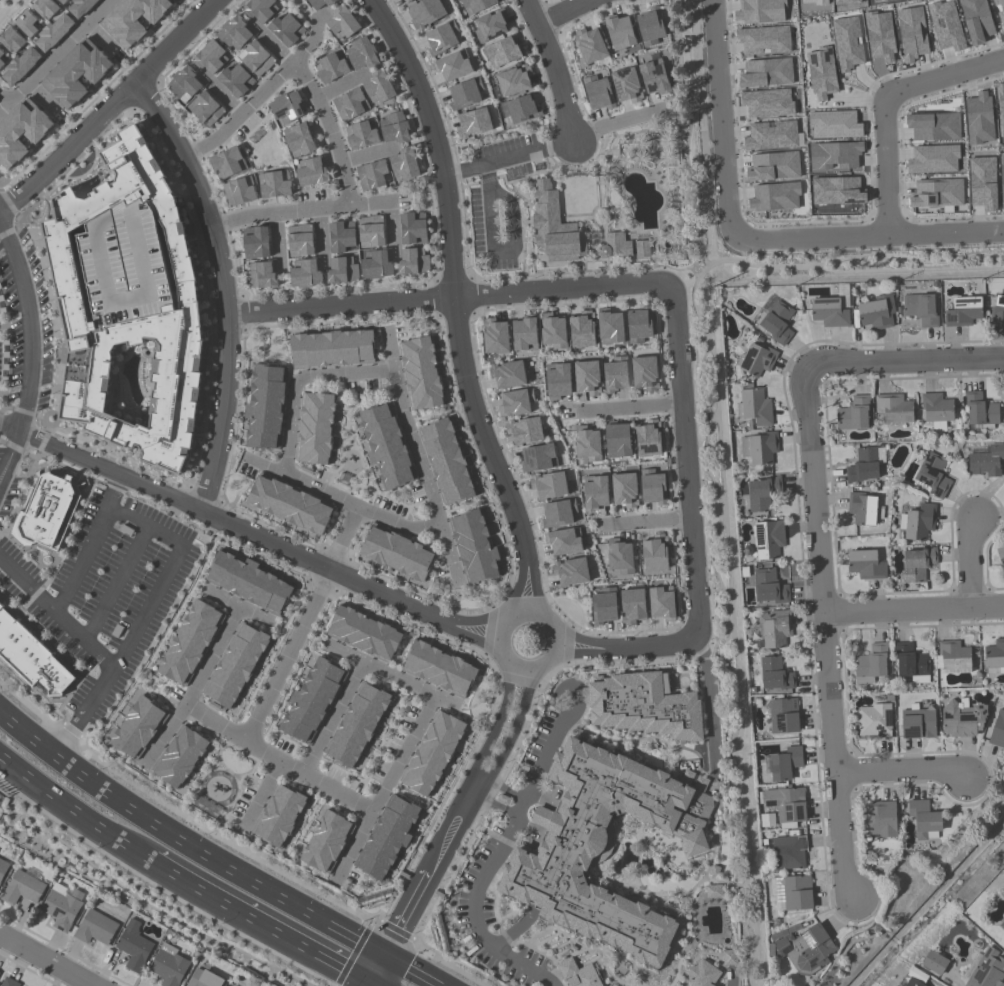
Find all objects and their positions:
building: (282, 0)
building: (62, 1)
building: (407, 1)
building: (815, 1)
building: (845, 1)
building: (881, 1)
building: (319, 3)
building: (476, 5)
building: (80, 7)
building: (45, 8)
building: (259, 9)
building: (999, 10)
road: (558, 11)
building: (759, 11)
building: (425, 13)
road: (308, 16)
building: (132, 19)
building: (976, 20)
building: (26, 23)
building: (342, 23)
building: (490, 25)
building: (946, 25)
building: (650, 26)
building: (286, 29)
building: (53, 32)
building: (619, 32)
building: (234, 33)
building: (912, 33)
building: (879, 36)
road: (98, 37)
building: (441, 38)
building: (11, 40)
building: (763, 40)
building: (847, 43)
building: (589, 46)
building: (502, 52)
building: (1, 53)
building: (361, 53)
road: (54, 55)
building: (210, 57)
building: (256, 58)
building: (2, 61)
building: (20, 66)
building: (453, 66)
building: (330, 68)
road: (556, 71)
building: (75, 73)
building: (766, 73)
building: (821, 73)
building: (653, 77)
building: (236, 80)
building: (514, 80)
building: (184, 84)
building: (626, 85)
road: (338, 86)
building: (378, 87)
building: (597, 93)
road: (221, 94)
building: (465, 94)
road: (4, 98)
road: (39, 98)
road: (253, 101)
building: (767, 102)
road: (885, 103)
road: (318, 104)
building: (350, 104)
building: (286, 108)
building: (1001, 108)
building: (205, 109)
building: (521, 109)
road: (109, 110)
road: (721, 117)
building: (979, 118)
road: (620, 121)
building: (473, 123)
building: (834, 124)
building: (933, 126)
building: (394, 127)
building: (21, 132)
building: (360, 135)
building: (771, 136)
building: (298, 140)
road: (368, 153)
building: (834, 155)
road: (507, 158)
building: (933, 159)
building: (227, 163)
building: (404, 164)
building: (773, 166)
building: (311, 172)
building: (371, 174)
building: (1001, 179)
building: (982, 183)
building: (274, 184)
building: (238, 191)
building: (837, 191)
building: (937, 193)
building: (774, 197)
road: (298, 208)
building: (554, 227)
building: (412, 228)
road: (390, 229)
building: (370, 232)
road: (866, 235)
road: (319, 236)
building: (341, 236)
road: (276, 239)
building: (300, 241)
building: (255, 242)
building: (615, 245)
building: (642, 248)
road: (498, 250)
building: (413, 261)
building: (375, 265)
road: (699, 266)
building: (342, 270)
building: (304, 274)
building: (260, 275)
road: (221, 289)
road: (444, 299)
building: (128, 301)
road: (453, 304)
building: (920, 309)
building: (998, 310)
building: (962, 311)
building: (828, 312)
building: (877, 312)
building: (777, 322)
building: (639, 325)
building: (610, 327)
building: (581, 330)
building: (553, 331)
building: (524, 334)
building: (495, 337)
road: (29, 348)
building: (331, 349)
road: (389, 352)
building: (756, 360)
road: (910, 361)
building: (644, 373)
building: (420, 374)
building: (508, 374)
building: (615, 375)
building: (586, 377)
building: (557, 381)
building: (515, 403)
building: (265, 407)
road: (631, 407)
building: (754, 407)
building: (894, 408)
building: (937, 410)
building: (981, 411)
building: (853, 414)
road: (290, 417)
road: (9, 426)
building: (315, 429)
building: (524, 431)
building: (648, 439)
building: (617, 440)
building: (587, 444)
building: (386, 446)
building: (759, 447)
building: (538, 458)
building: (986, 461)
building: (446, 462)
road: (684, 462)
road: (265, 466)
building: (863, 466)
building: (933, 475)
building: (549, 485)
building: (652, 487)
road: (429, 489)
building: (624, 490)
building: (594, 493)
building: (762, 493)
building: (289, 504)
building: (864, 509)
building: (47, 511)
building: (558, 513)
road: (645, 521)
building: (917, 522)
building: (124, 530)
road: (257, 537)
road: (341, 538)
building: (768, 539)
building: (563, 541)
road: (88, 544)
building: (474, 547)
road: (449, 551)
building: (397, 553)
building: (655, 554)
building: (1000, 556)
building: (619, 557)
building: (865, 564)
building: (918, 564)
road: (973, 565)
road: (167, 569)
building: (571, 572)
road: (115, 582)
building: (248, 582)
building: (769, 587)
building: (662, 603)
building: (633, 604)
road: (238, 606)
building: (604, 606)
road: (914, 612)
building: (774, 629)
road: (825, 629)
building: (118, 631)
building: (363, 634)
road: (500, 634)
building: (189, 644)
road: (625, 649)
road: (96, 650)
building: (30, 656)
road: (286, 656)
building: (995, 656)
building: (953, 658)
building: (911, 663)
building: (871, 664)
building: (235, 666)
building: (439, 669)
building: (775, 674)
road: (390, 675)
road: (193, 687)
building: (311, 701)
road: (712, 702)
building: (642, 707)
building: (783, 716)
building: (962, 718)
road: (332, 719)
building: (874, 721)
building: (917, 722)
building: (357, 725)
building: (137, 728)
building: (997, 730)
road: (27, 738)
road: (549, 753)
building: (432, 755)
building: (179, 758)
road: (276, 761)
building: (785, 764)
road: (902, 772)
road: (481, 776)
road: (385, 786)
road: (507, 789)
road: (471, 793)
road: (261, 794)
road: (75, 805)
building: (786, 805)
road: (498, 806)
road: (523, 807)
road: (452, 812)
building: (278, 816)
road: (466, 817)
building: (879, 820)
building: (924, 820)
building: (387, 838)
building: (326, 842)
building: (604, 847)
building: (788, 853)
road: (208, 860)
building: (3, 869)
building: (22, 889)
building: (713, 892)
building: (794, 893)
building: (61, 907)
road: (255, 914)
road: (473, 914)
building: (1002, 926)
building: (94, 928)
building: (133, 946)
building: (805, 949)
traffic signals: (371, 950)
road: (381, 956)
building: (729, 958)
road: (47, 959)
road: (365, 961)
traffic signals: (391, 962)
building: (935, 963)
building: (168, 966)
building: (987, 970)
traffic signals: (359, 972)
road: (385, 972)
road: (412, 974)
building: (578, 974)
building: (702, 975)
road: (369, 977)
building: (204, 979)
building: (8, 982)
traffic signals: (379, 983)
road: (730, 983)
building: (913, 983)
road: (381, 984)
building: (627, 985)

